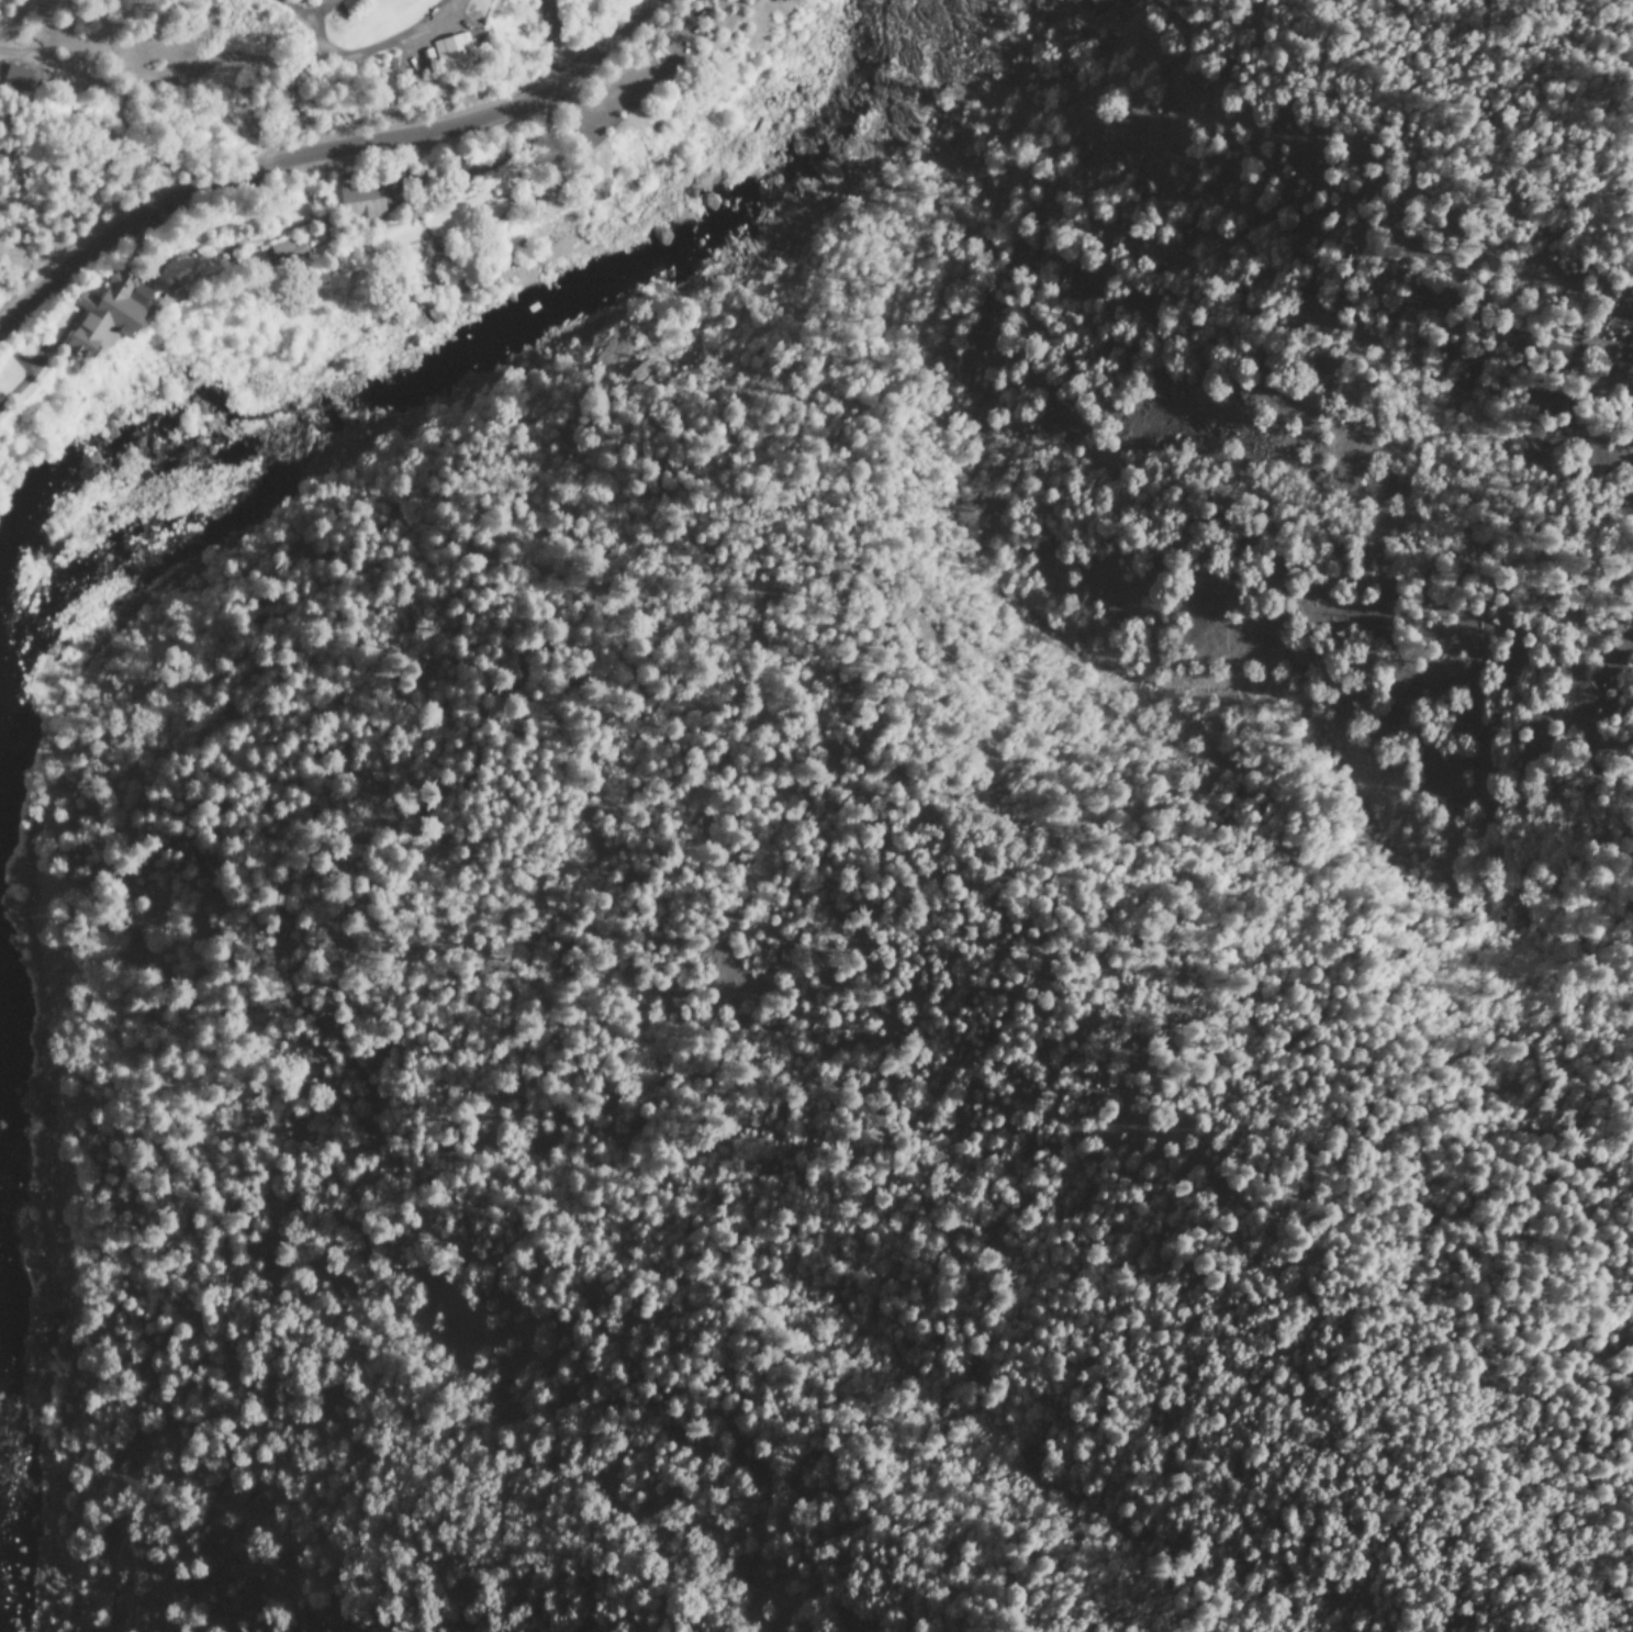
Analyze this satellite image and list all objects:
road: (557, 38)
building: (450, 52)
river: (848, 54)
building: (20, 75)
road: (323, 149)
building: (368, 199)
wastewater plant: (373, 225)
river: (657, 261)
building: (178, 289)
building: (108, 313)
river: (317, 414)
river: (67, 525)
river: (7, 1377)

